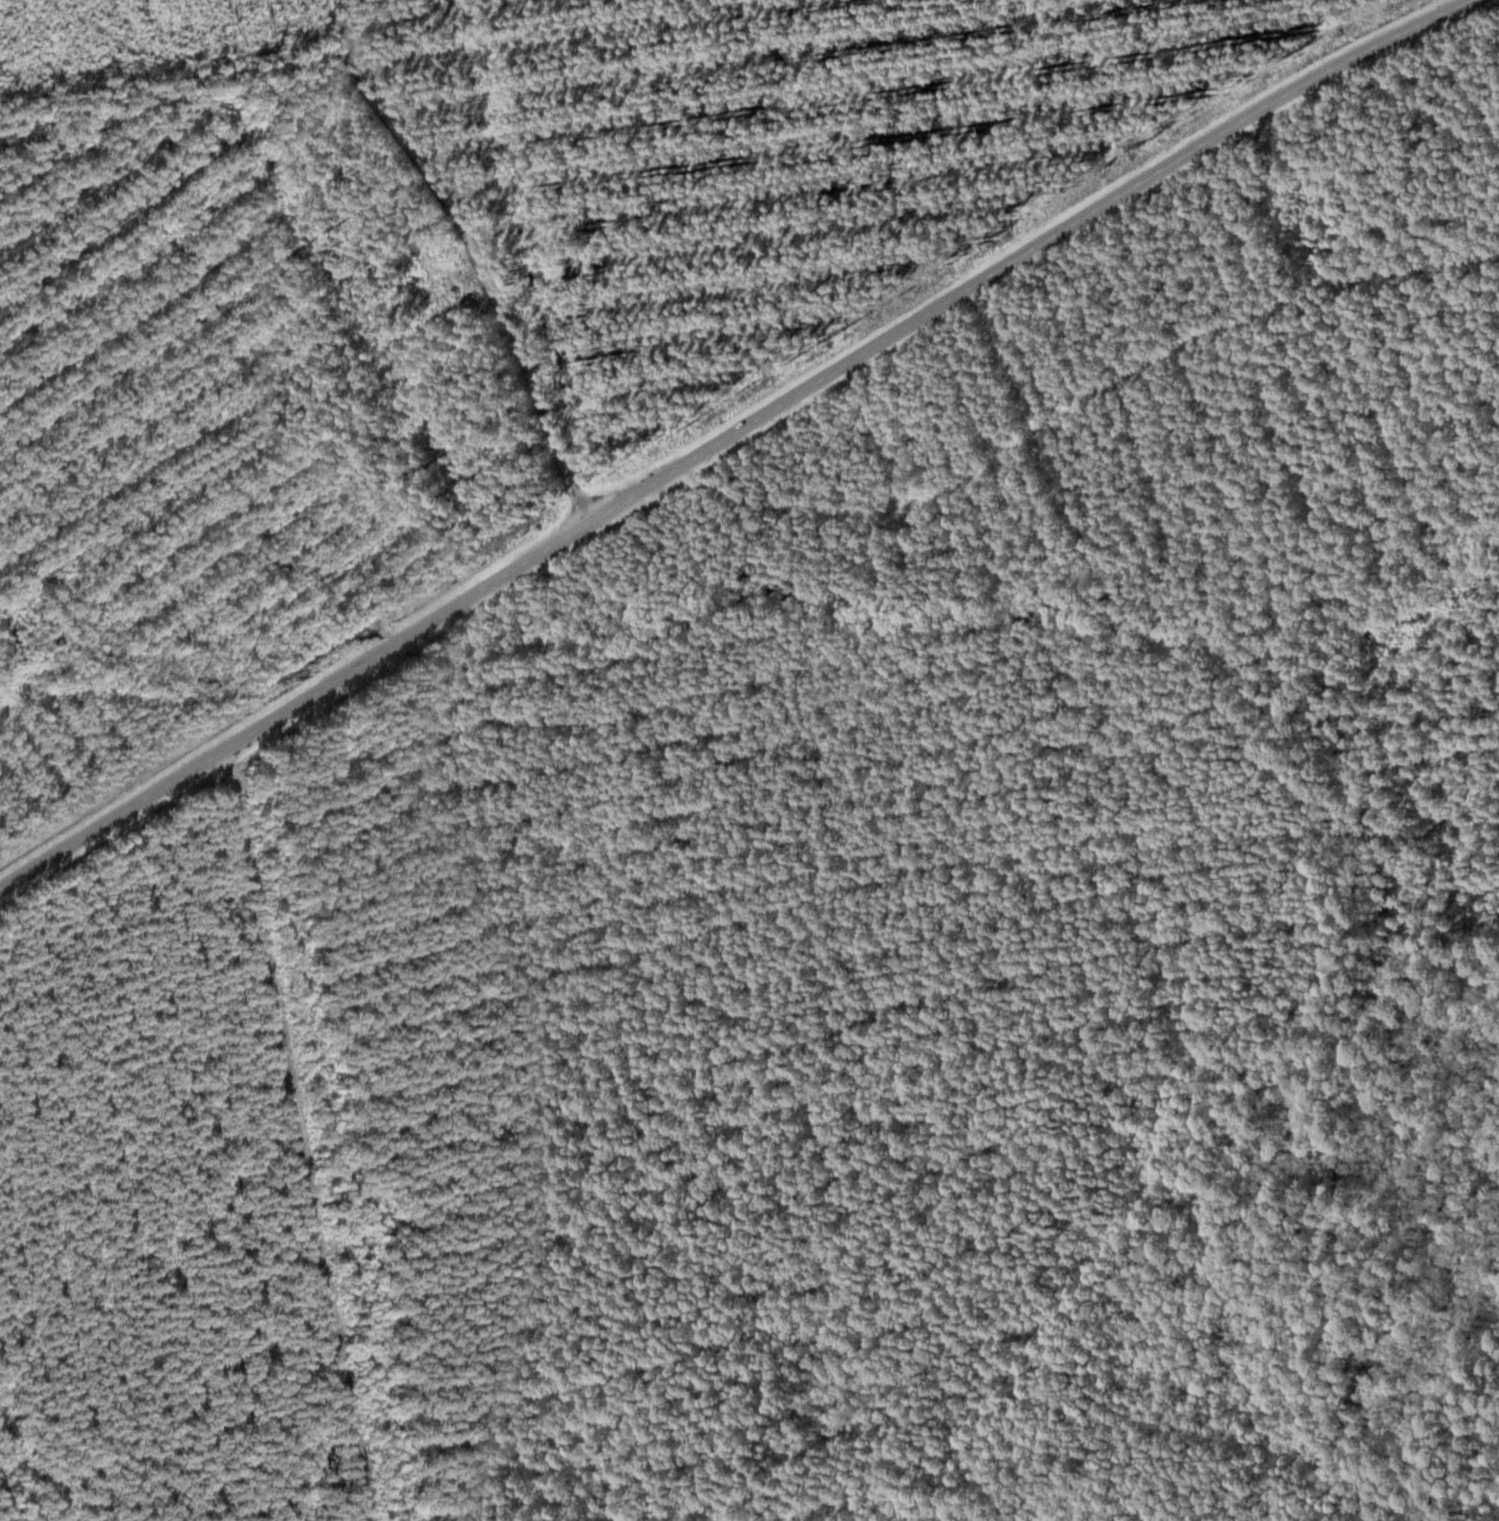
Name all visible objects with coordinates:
road: (494, 242)
road: (730, 428)
road: (344, 1126)

